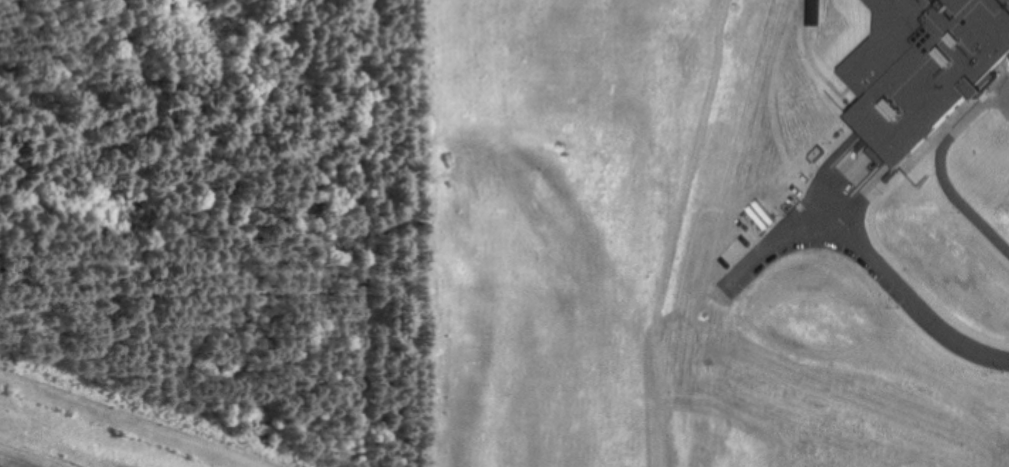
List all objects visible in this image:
road: (796, 10)
building: (918, 67)
road: (901, 295)

